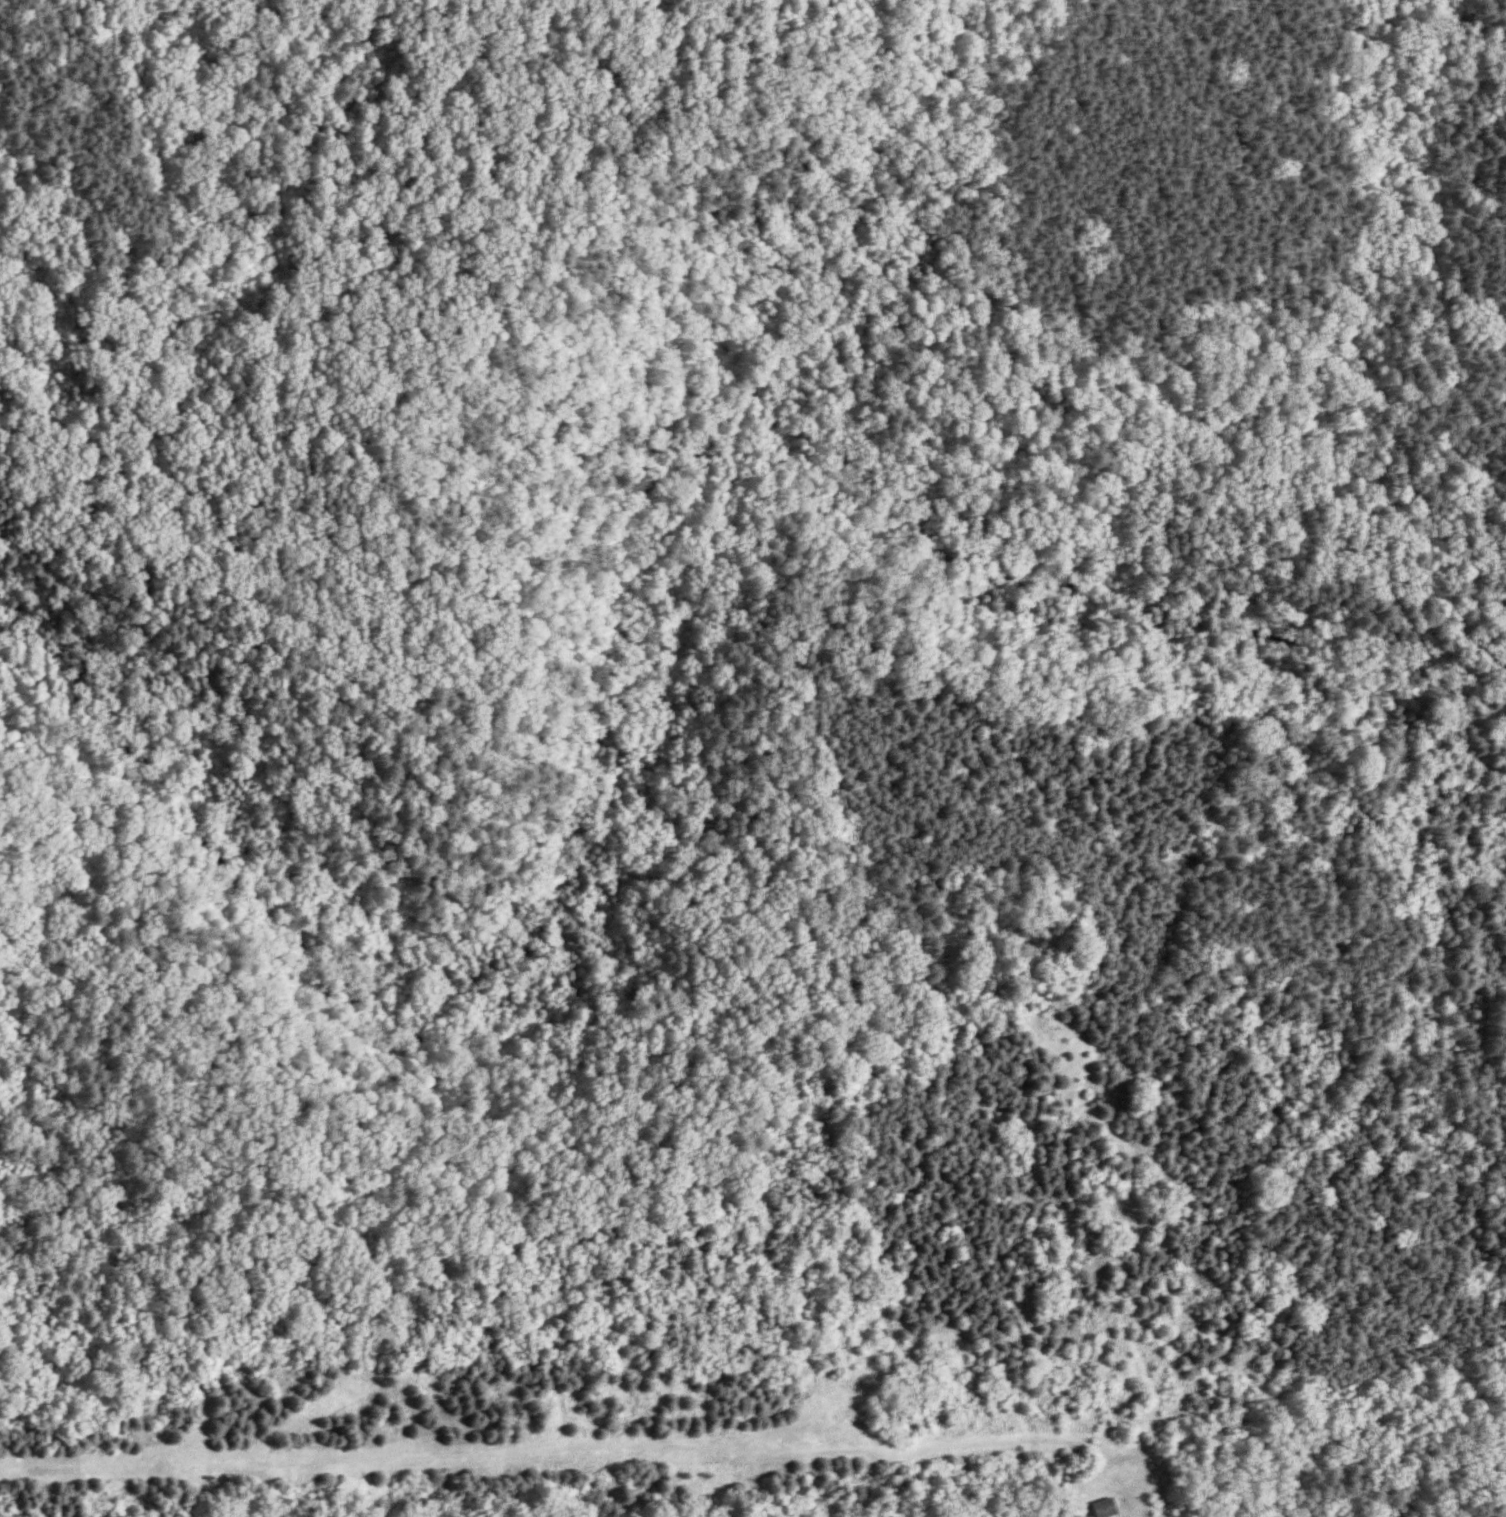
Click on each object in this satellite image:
road: (1309, 1386)
building: (1104, 1506)

